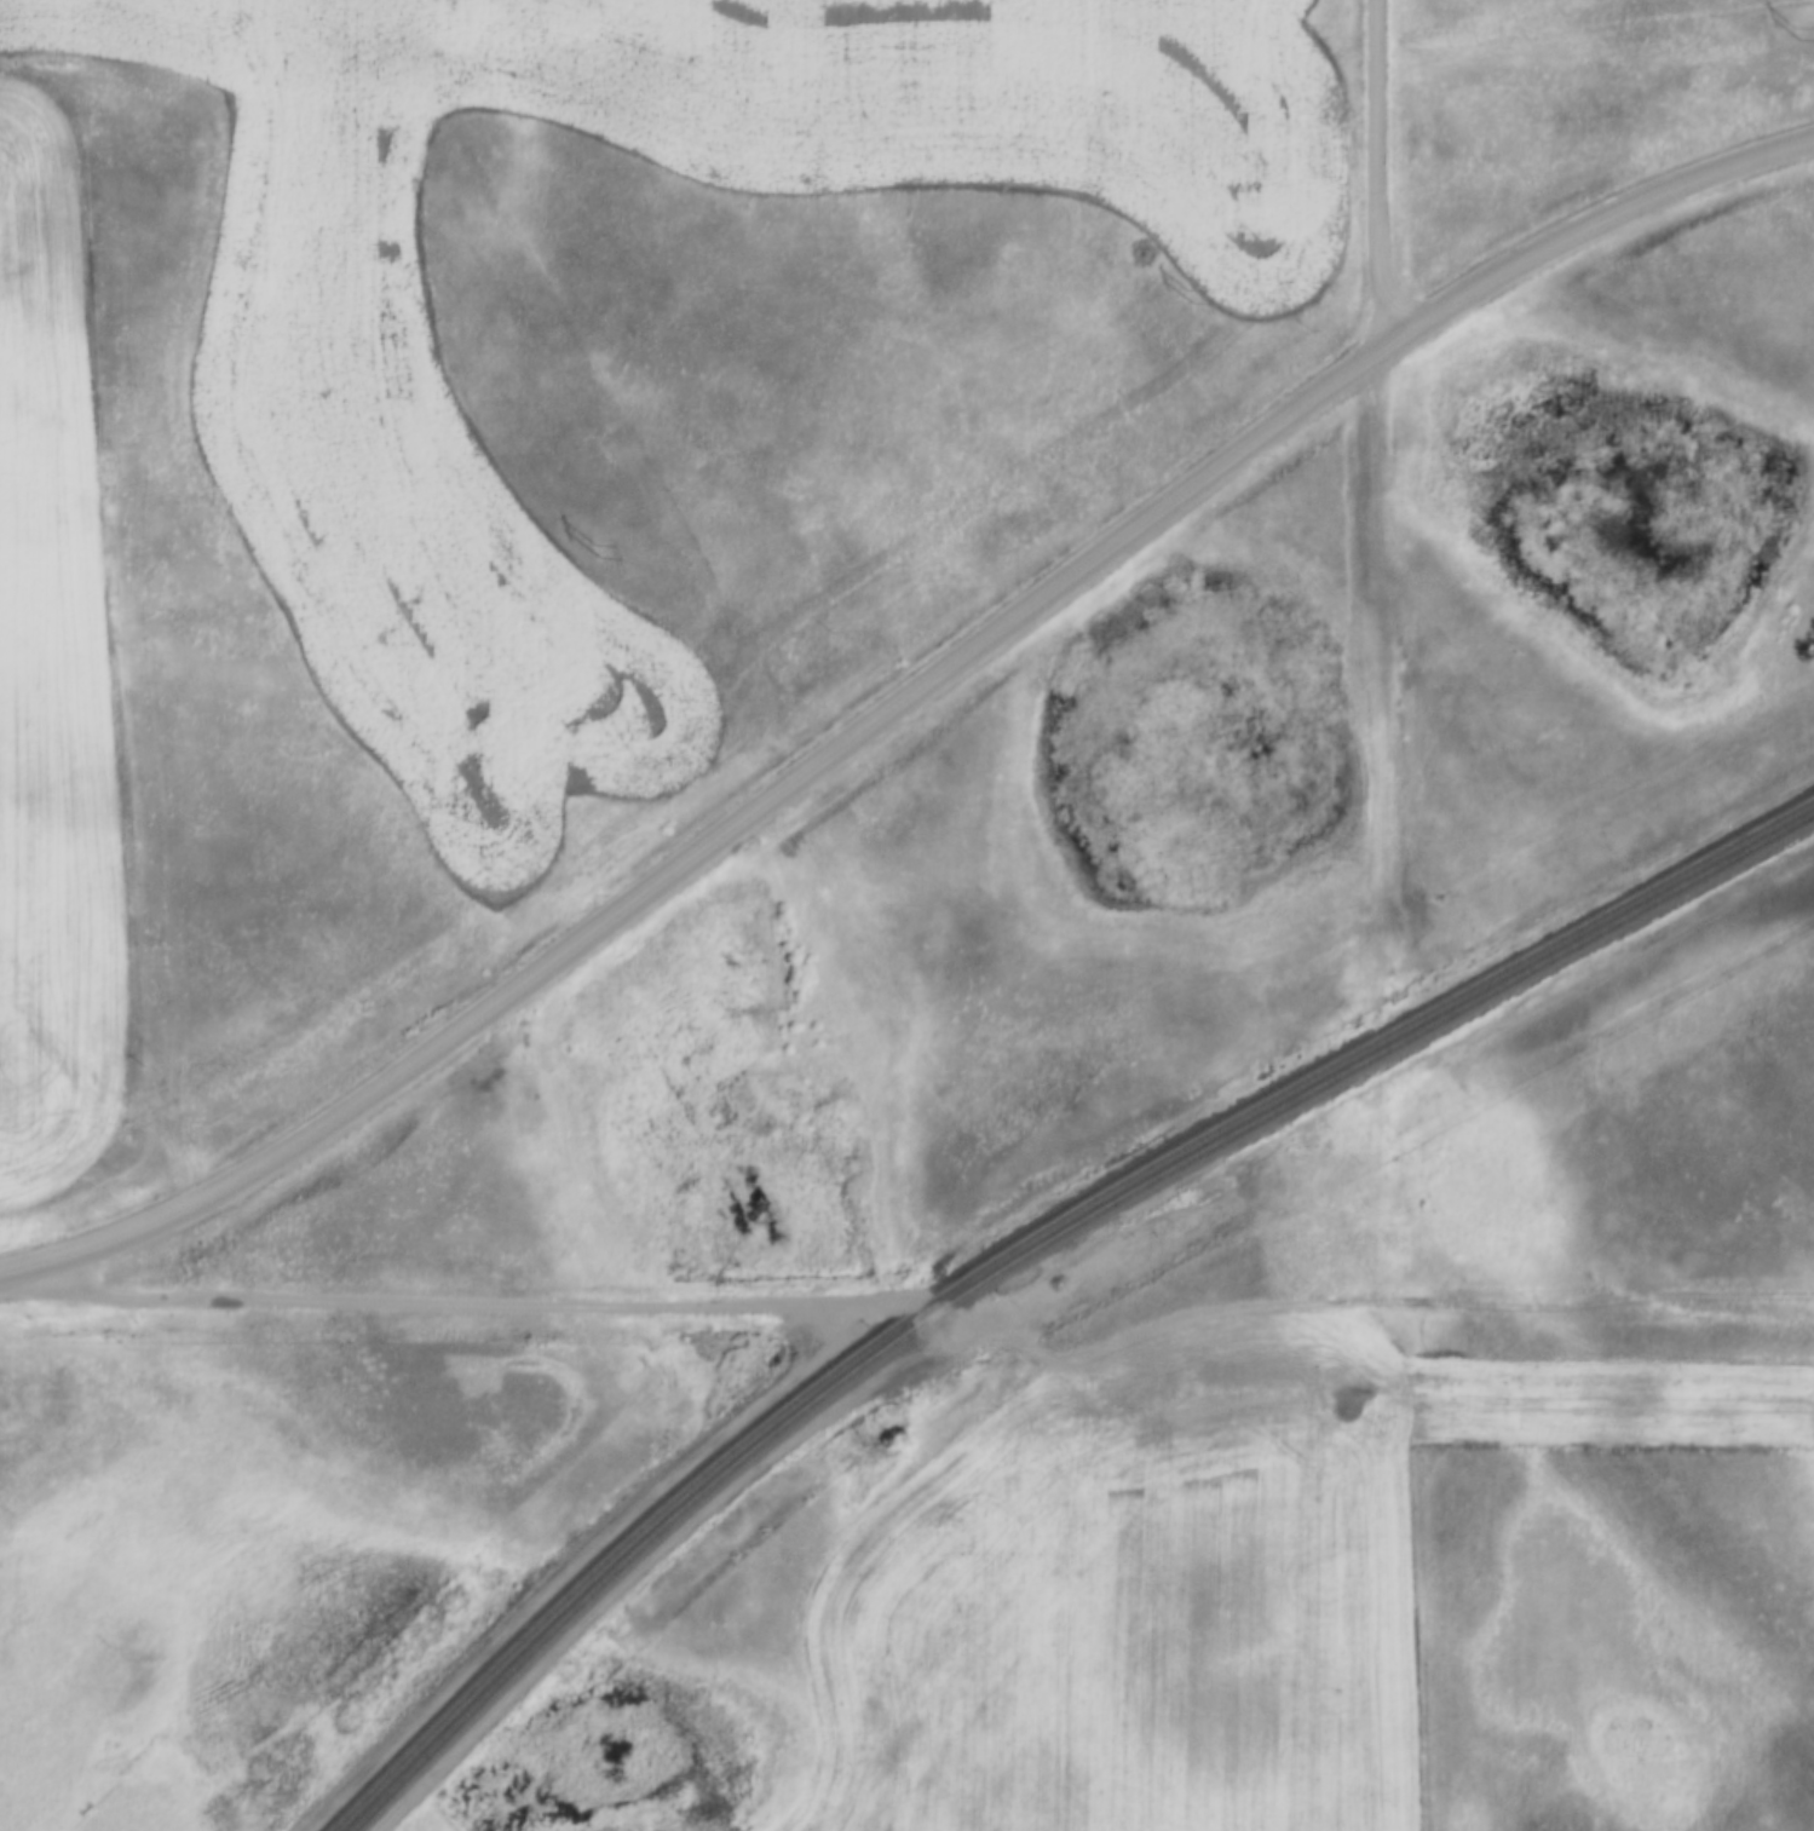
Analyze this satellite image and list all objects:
power tower: (1796, 33)
road: (1383, 172)
power tower: (1188, 295)
power tower: (595, 548)
road: (921, 690)
railway: (1019, 1240)
railway: (1031, 1251)
road: (22, 1271)
road: (553, 1300)
road: (1432, 1306)
road: (908, 1583)

